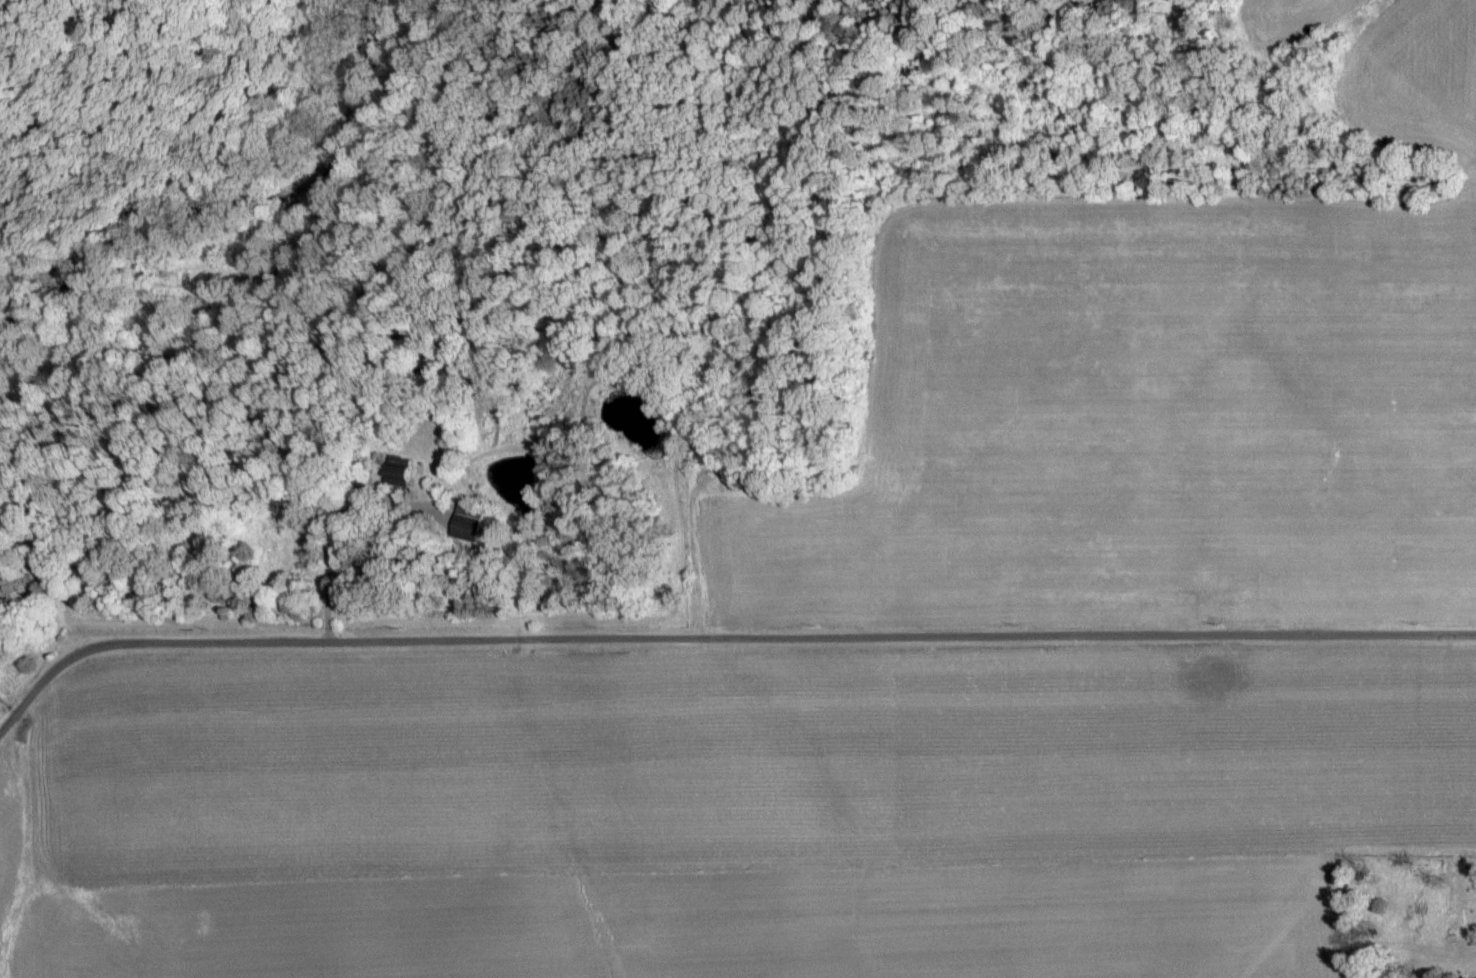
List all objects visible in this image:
road: (342, 523)
road: (721, 636)
crop: (887, 639)

